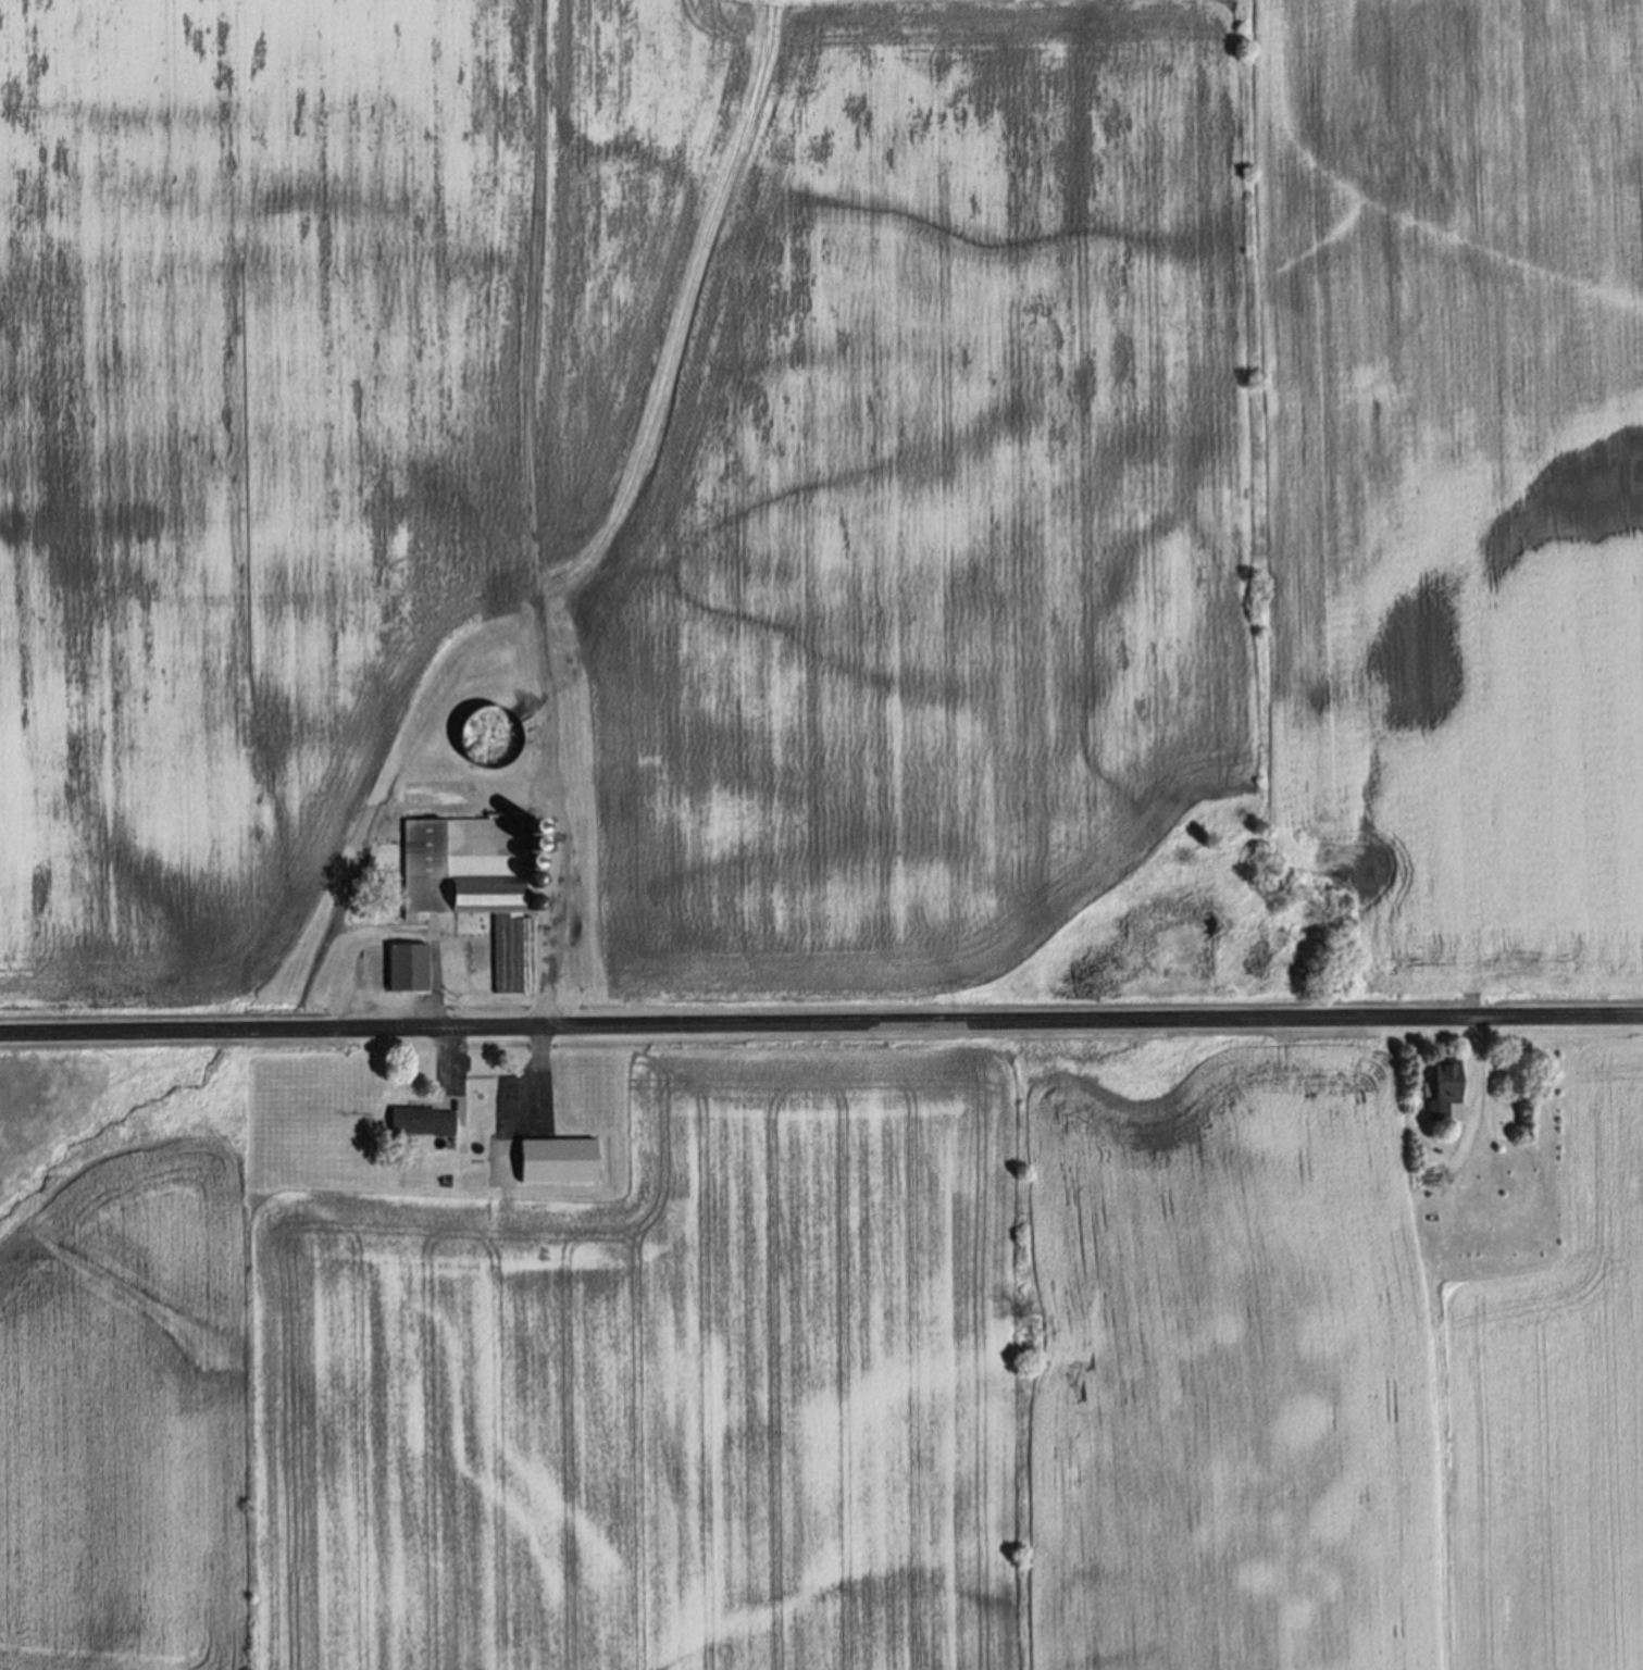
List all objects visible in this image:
building: (469, 900)
road: (821, 1022)
road: (537, 1023)
road: (1476, 1080)
building: (1444, 1093)
building: (426, 1122)
building: (560, 1162)

